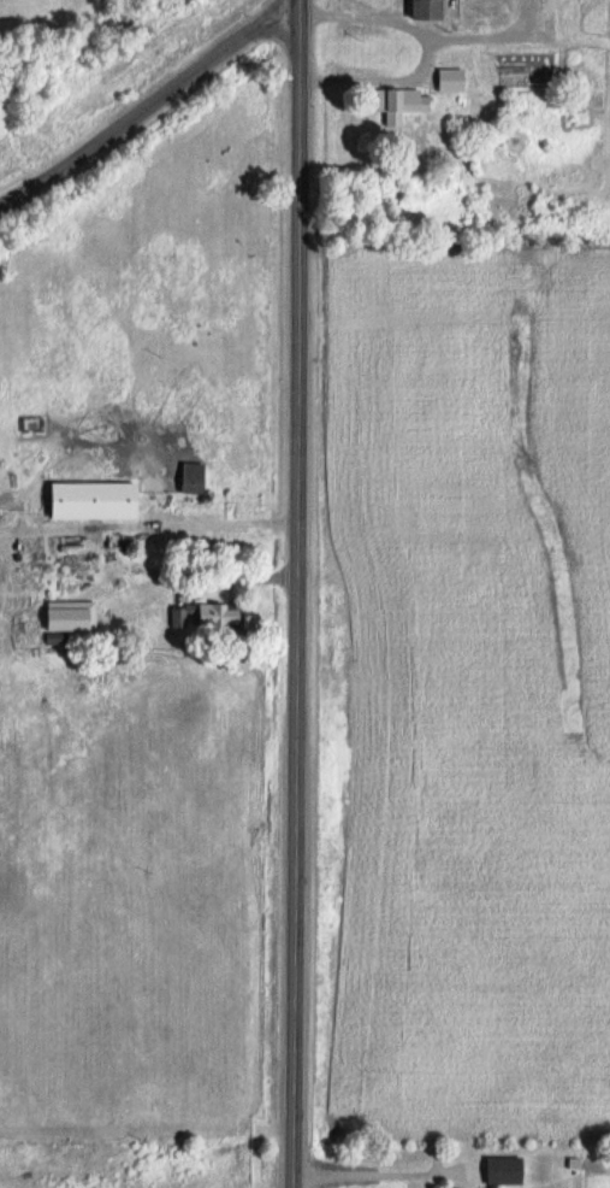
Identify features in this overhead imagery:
building: (421, 8)
road: (426, 48)
building: (446, 80)
building: (396, 102)
road: (150, 106)
building: (186, 477)
building: (87, 500)
road: (300, 593)
building: (84, 614)
building: (199, 616)
road: (384, 1171)
building: (497, 1171)

